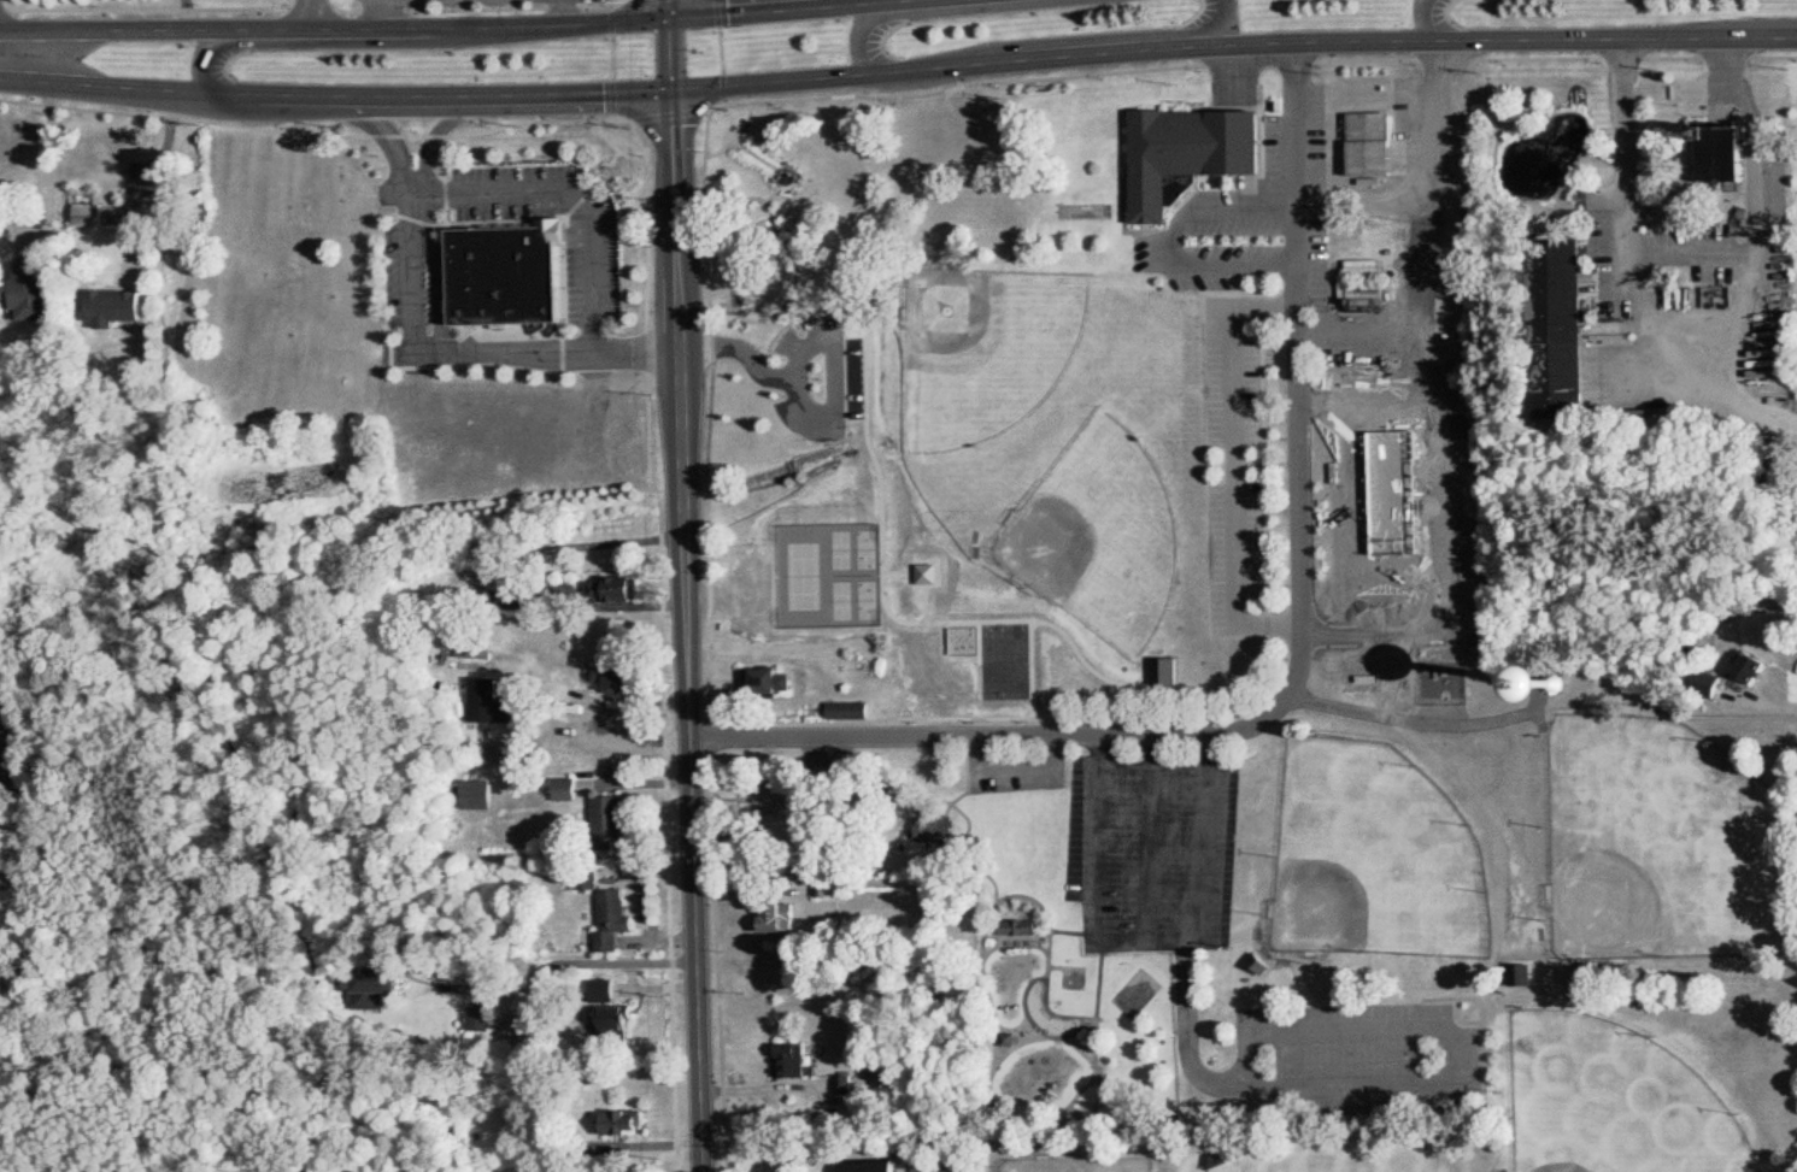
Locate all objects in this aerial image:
road: (863, 4)
road: (792, 6)
road: (670, 10)
road: (803, 11)
road: (559, 12)
road: (315, 14)
road: (375, 14)
traffic signals: (671, 20)
road: (1428, 20)
road: (1220, 25)
road: (335, 29)
road: (318, 43)
road: (1233, 43)
road: (859, 45)
road: (671, 58)
traffic signals: (673, 95)
road: (335, 108)
building: (1379, 143)
road: (439, 146)
building: (1715, 147)
road: (394, 148)
building: (1196, 155)
road: (51, 163)
road: (147, 177)
fountain: (787, 179)
road: (569, 207)
building: (93, 213)
road: (1426, 228)
road: (1175, 245)
road: (1698, 252)
building: (512, 277)
building: (39, 289)
building: (118, 306)
road: (1733, 316)
building: (1566, 329)
parking lot: (811, 335)
park: (987, 349)
road: (466, 355)
road: (1684, 364)
road: (816, 422)
building: (1387, 428)
park: (1102, 535)
road: (606, 543)
building: (619, 588)
road: (623, 606)
road: (691, 632)
park: (997, 654)
building: (1744, 670)
building: (1165, 671)
building: (623, 678)
water tower: (1550, 683)
building: (494, 702)
park: (1171, 706)
road: (1538, 711)
road: (1262, 719)
road: (981, 720)
road: (940, 737)
building: (568, 789)
building: (477, 795)
building: (610, 813)
parking lot: (1137, 836)
park: (1660, 843)
park: (1374, 855)
building: (833, 890)
building: (783, 917)
building: (615, 919)
building: (1027, 926)
road: (571, 962)
fountain: (1074, 974)
building: (374, 988)
road: (657, 988)
building: (604, 990)
building: (478, 1018)
building: (624, 1018)
road: (1000, 1053)
parking lot: (1353, 1059)
building: (793, 1060)
building: (845, 1085)
park: (1614, 1102)
building: (626, 1121)
park: (1080, 1165)
road: (713, 1166)
building: (879, 1166)

